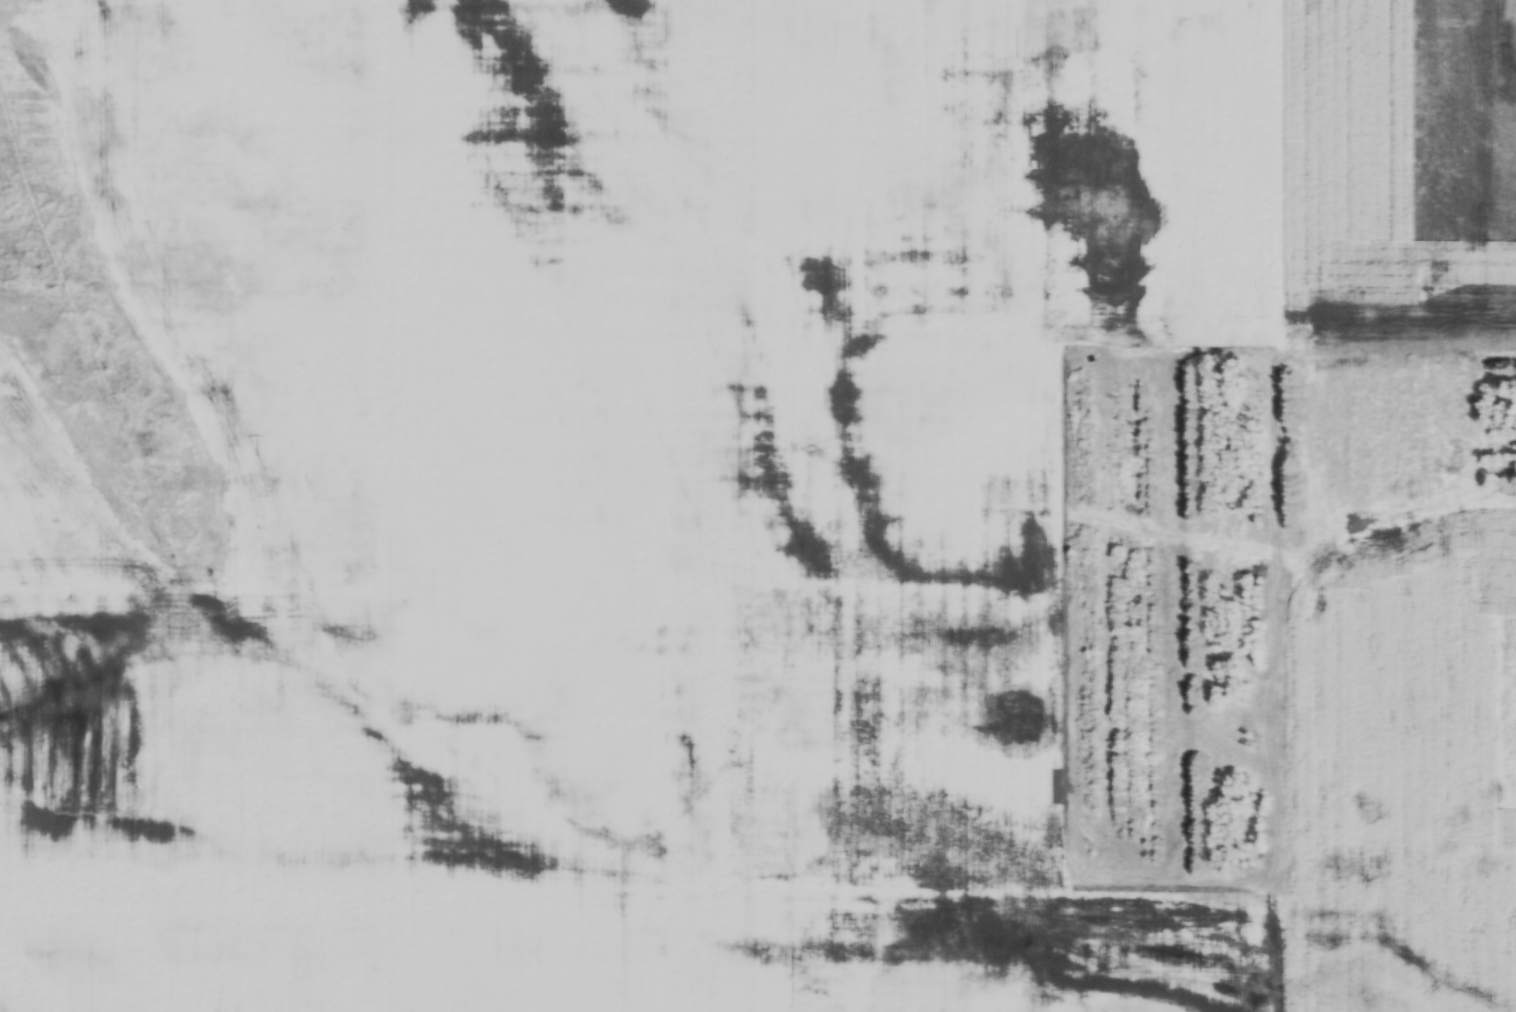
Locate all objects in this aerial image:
building: (1436, 819)
building: (1471, 868)

